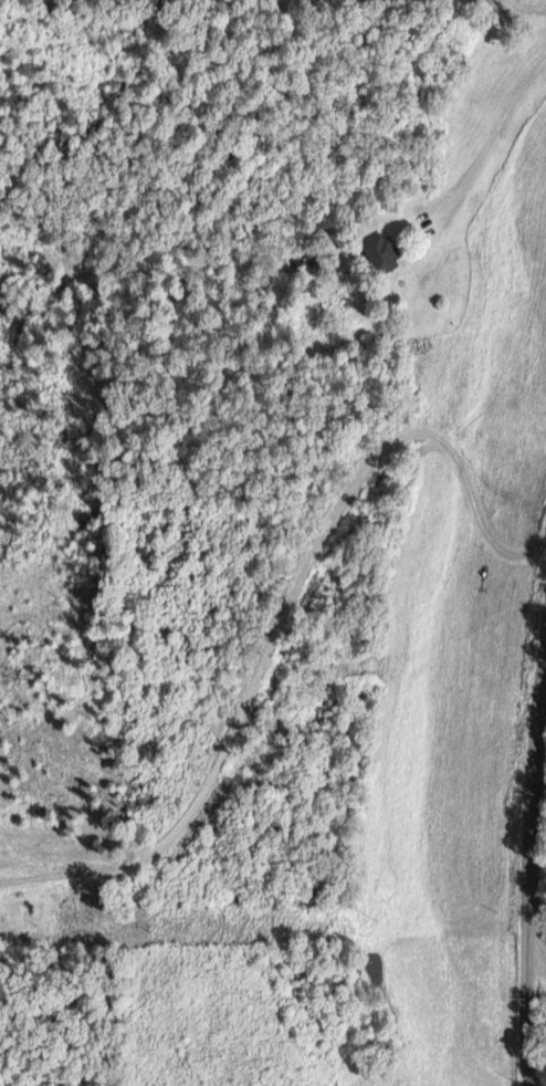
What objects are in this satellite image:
road: (487, 139)
building: (379, 253)
road: (274, 634)
road: (527, 836)
road: (536, 948)

